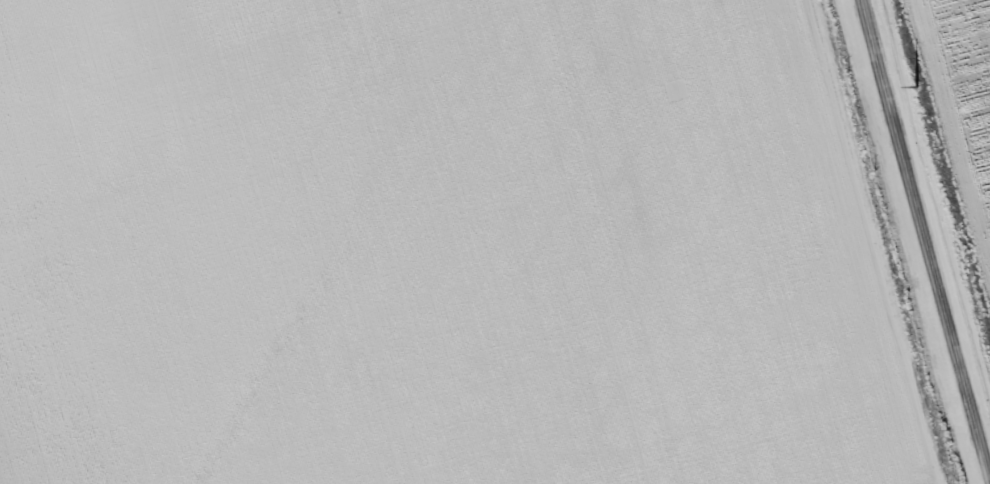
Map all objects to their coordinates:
power tower: (909, 67)
road: (927, 233)

